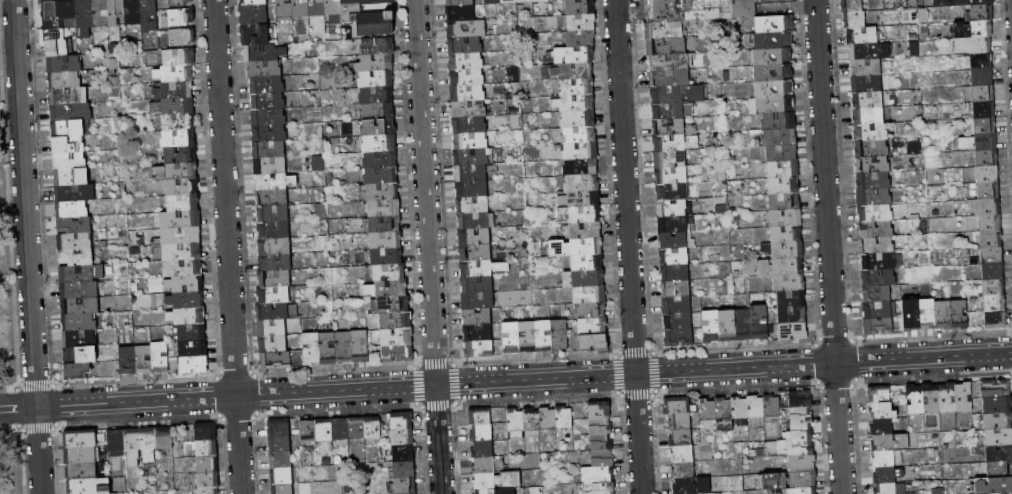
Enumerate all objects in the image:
building: (508, 1)
building: (539, 1)
building: (253, 2)
building: (366, 2)
building: (492, 2)
building: (523, 2)
building: (777, 2)
building: (983, 2)
building: (180, 3)
building: (459, 3)
building: (851, 6)
building: (580, 7)
building: (300, 8)
building: (317, 8)
building: (284, 9)
building: (730, 9)
building: (333, 11)
building: (675, 11)
building: (132, 12)
building: (57, 13)
building: (100, 13)
building: (460, 13)
building: (982, 13)
building: (116, 15)
building: (254, 15)
building: (149, 16)
building: (84, 17)
building: (181, 17)
building: (370, 19)
building: (855, 20)
building: (580, 23)
building: (775, 24)
building: (466, 29)
building: (973, 29)
building: (664, 31)
building: (255, 35)
building: (861, 36)
building: (182, 37)
building: (580, 38)
building: (771, 40)
building: (56, 43)
building: (464, 45)
building: (980, 45)
building: (377, 47)
building: (666, 47)
building: (867, 51)
building: (265, 53)
building: (573, 55)
building: (772, 56)
building: (179, 57)
building: (465, 61)
building: (981, 61)
building: (669, 62)
building: (64, 64)
building: (374, 64)
building: (865, 68)
building: (264, 69)
building: (569, 71)
building: (773, 73)
building: (175, 74)
building: (466, 77)
building: (982, 78)
building: (376, 79)
building: (670, 79)
building: (64, 80)
building: (866, 84)
building: (266, 85)
building: (576, 87)
building: (774, 89)
building: (174, 90)
building: (467, 93)
building: (679, 94)
building: (982, 94)
building: (68, 96)
building: (370, 96)
building: (267, 101)
building: (867, 101)
building: (575, 103)
building: (775, 105)
building: (174, 106)
building: (468, 109)
building: (984, 109)
building: (667, 111)
building: (71, 112)
building: (377, 112)
building: (867, 117)
building: (268, 118)
building: (577, 119)
building: (178, 122)
building: (778, 122)
building: (469, 125)
building: (985, 126)
building: (668, 127)
building: (69, 128)
building: (377, 128)
building: (870, 133)
building: (269, 134)
building: (578, 135)
building: (779, 138)
building: (178, 139)
building: (470, 141)
building: (979, 142)
building: (675, 143)
building: (379, 144)
building: (68, 145)
building: (871, 149)
building: (269, 150)
building: (579, 151)
building: (781, 154)
building: (181, 155)
building: (471, 157)
building: (987, 158)
building: (380, 160)
building: (670, 160)
building: (70, 161)
building: (872, 165)
building: (269, 166)
building: (580, 167)
building: (783, 169)
building: (176, 171)
building: (471, 173)
building: (987, 174)
building: (672, 175)
building: (380, 176)
building: (71, 177)
building: (873, 181)
building: (274, 182)
building: (581, 183)
building: (182, 186)
building: (783, 186)
building: (471, 189)
building: (988, 190)
building: (673, 191)
building: (381, 192)
building: (75, 193)
building: (873, 197)
building: (271, 198)
building: (579, 199)
building: (784, 202)
building: (183, 203)
building: (472, 204)
building: (988, 207)
building: (384, 208)
building: (673, 208)
building: (71, 209)
building: (880, 213)
building: (272, 214)
building: (579, 215)
building: (786, 218)
building: (180, 220)
building: (476, 220)
building: (991, 223)
building: (383, 224)
building: (674, 224)
building: (75, 226)
building: (273, 230)
building: (876, 230)
building: (583, 231)
building: (786, 234)
building: (181, 236)
building: (474, 236)
building: (991, 239)
building: (386, 240)
building: (676, 241)
building: (74, 242)
road: (227, 246)
building: (274, 246)
road: (628, 246)
building: (876, 246)
road: (27, 247)
road: (427, 247)
building: (576, 247)
road: (828, 247)
building: (784, 250)
building: (182, 252)
building: (474, 252)
building: (992, 255)
building: (674, 256)
building: (76, 257)
building: (386, 257)
building: (881, 261)
building: (587, 262)
building: (275, 263)
building: (781, 267)
building: (183, 268)
building: (481, 268)
building: (993, 271)
building: (389, 272)
building: (80, 273)
building: (675, 273)
building: (879, 278)
building: (274, 279)
building: (583, 279)
building: (789, 283)
building: (185, 284)
building: (476, 284)
park: (14, 288)
building: (994, 288)
building: (387, 289)
building: (676, 289)
building: (79, 290)
building: (876, 294)
building: (273, 295)
building: (589, 295)
building: (791, 299)
building: (186, 300)
building: (478, 301)
building: (995, 304)
building: (391, 305)
building: (678, 305)
building: (80, 306)
building: (591, 310)
building: (877, 310)
building: (276, 311)
building: (959, 314)
building: (791, 315)
building: (926, 315)
building: (943, 315)
building: (187, 316)
building: (910, 316)
building: (477, 317)
building: (995, 320)
building: (396, 321)
building: (678, 321)
building: (79, 322)
building: (759, 322)
building: (743, 325)
building: (592, 326)
building: (711, 326)
building: (727, 326)
building: (877, 326)
building: (271, 327)
building: (793, 331)
building: (190, 333)
building: (478, 333)
building: (559, 335)
building: (542, 336)
building: (397, 337)
building: (527, 337)
building: (511, 338)
building: (679, 338)
building: (80, 339)
building: (593, 342)
building: (272, 344)
building: (359, 346)
building: (343, 347)
building: (193, 349)
building: (311, 349)
building: (327, 349)
building: (479, 350)
building: (398, 354)
building: (80, 355)
building: (160, 358)
building: (144, 360)
building: (282, 360)
building: (128, 361)
building: (194, 365)
building: (77, 372)
road: (505, 381)
building: (996, 388)
building: (799, 394)
building: (879, 394)
building: (963, 397)
building: (947, 398)
building: (915, 399)
building: (931, 399)
building: (997, 405)
building: (677, 406)
building: (772, 406)
building: (800, 406)
building: (755, 407)
building: (599, 410)
building: (707, 410)
building: (740, 411)
building: (883, 411)
building: (724, 415)
building: (479, 417)
building: (563, 418)
building: (547, 419)
building: (401, 421)
building: (531, 421)
building: (998, 421)
building: (680, 422)
building: (801, 422)
building: (515, 424)
building: (600, 426)
building: (882, 427)
building: (279, 428)
building: (373, 428)
building: (356, 429)
building: (323, 430)
building: (340, 430)
building: (308, 431)
building: (206, 432)
building: (481, 433)
building: (799, 435)
building: (402, 437)
building: (998, 437)
building: (164, 438)
building: (680, 438)
building: (82, 439)
building: (601, 442)
building: (116, 443)
building: (891, 443)
building: (280, 444)
building: (148, 445)
building: (133, 446)
building: (796, 447)
building: (206, 448)
building: (482, 450)
building: (403, 453)
building: (999, 453)
building: (82, 455)
building: (682, 455)
building: (602, 458)
building: (887, 459)
building: (281, 460)
building: (802, 463)
building: (207, 465)
building: (483, 466)
building: (404, 469)
building: (999, 469)
building: (683, 471)
building: (81, 472)
building: (598, 475)
building: (885, 475)
building: (281, 476)
building: (789, 480)
building: (208, 481)
building: (497, 481)
building: (89, 486)
building: (404, 486)
building: (692, 486)
building: (994, 486)
building: (597, 488)
building: (282, 489)
building: (889, 489)
building: (207, 491)
building: (486, 491)
building: (801, 491)

